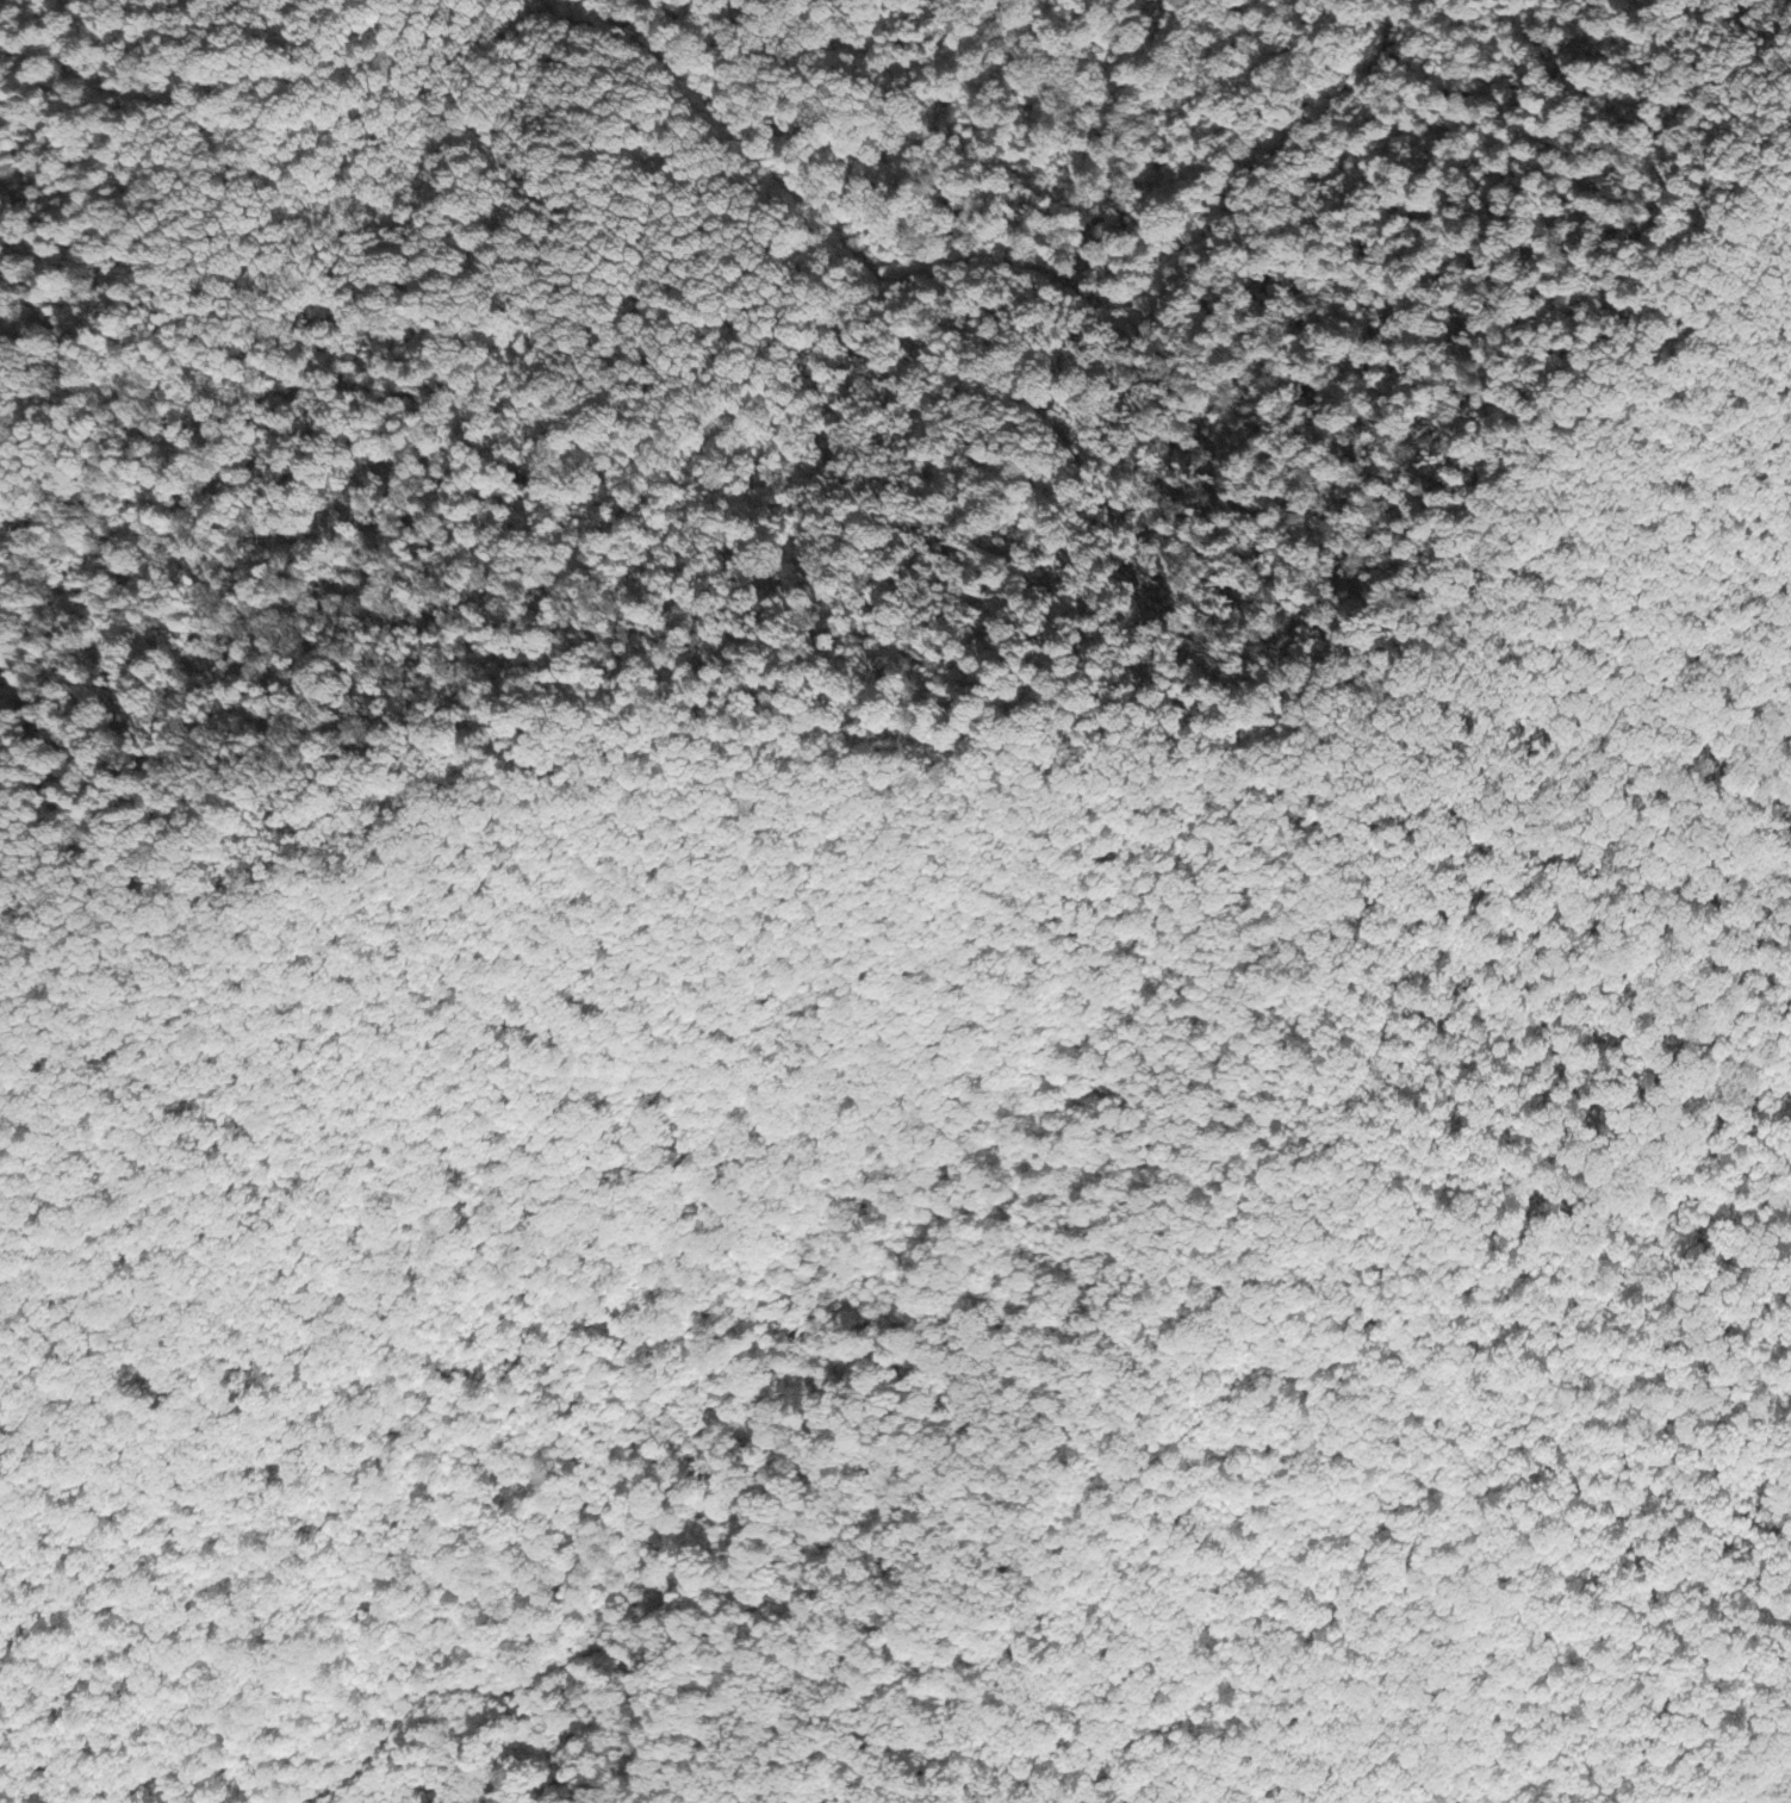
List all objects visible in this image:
road: (1712, 1764)

